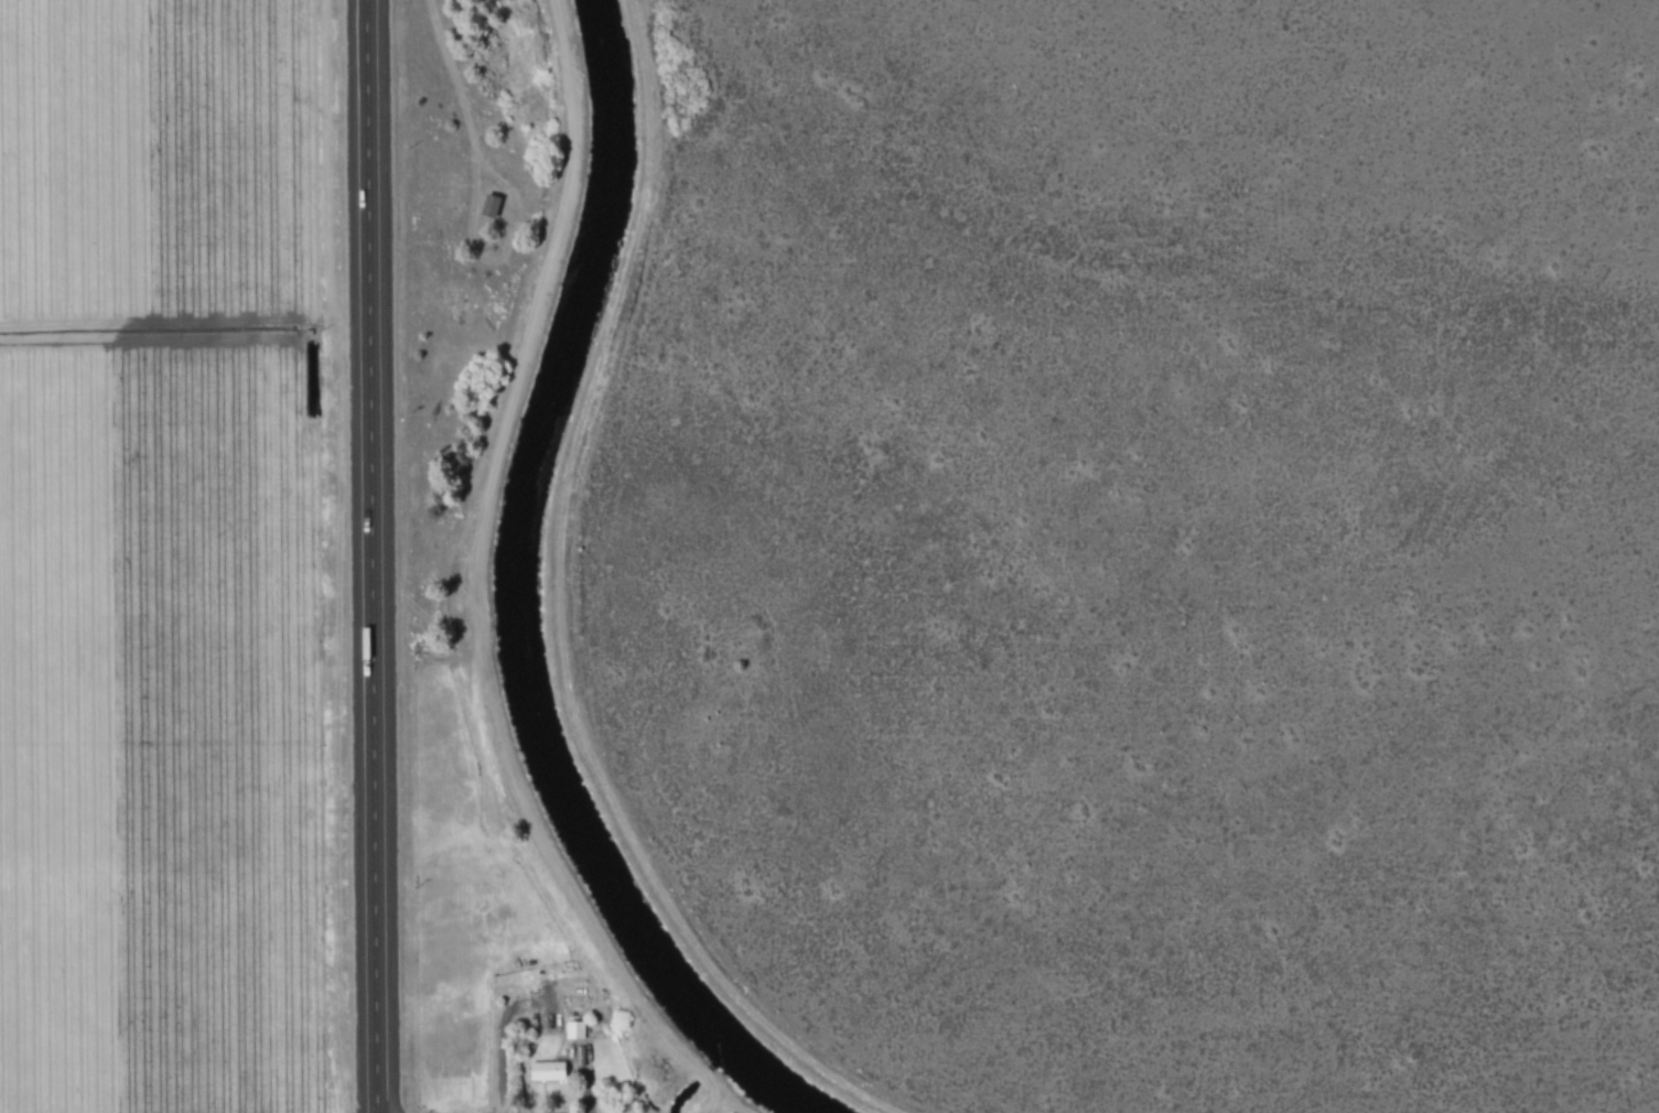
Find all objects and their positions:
building: (488, 205)
road: (375, 556)
crop: (149, 559)
crop: (545, 598)
building: (571, 1029)
building: (543, 1070)

